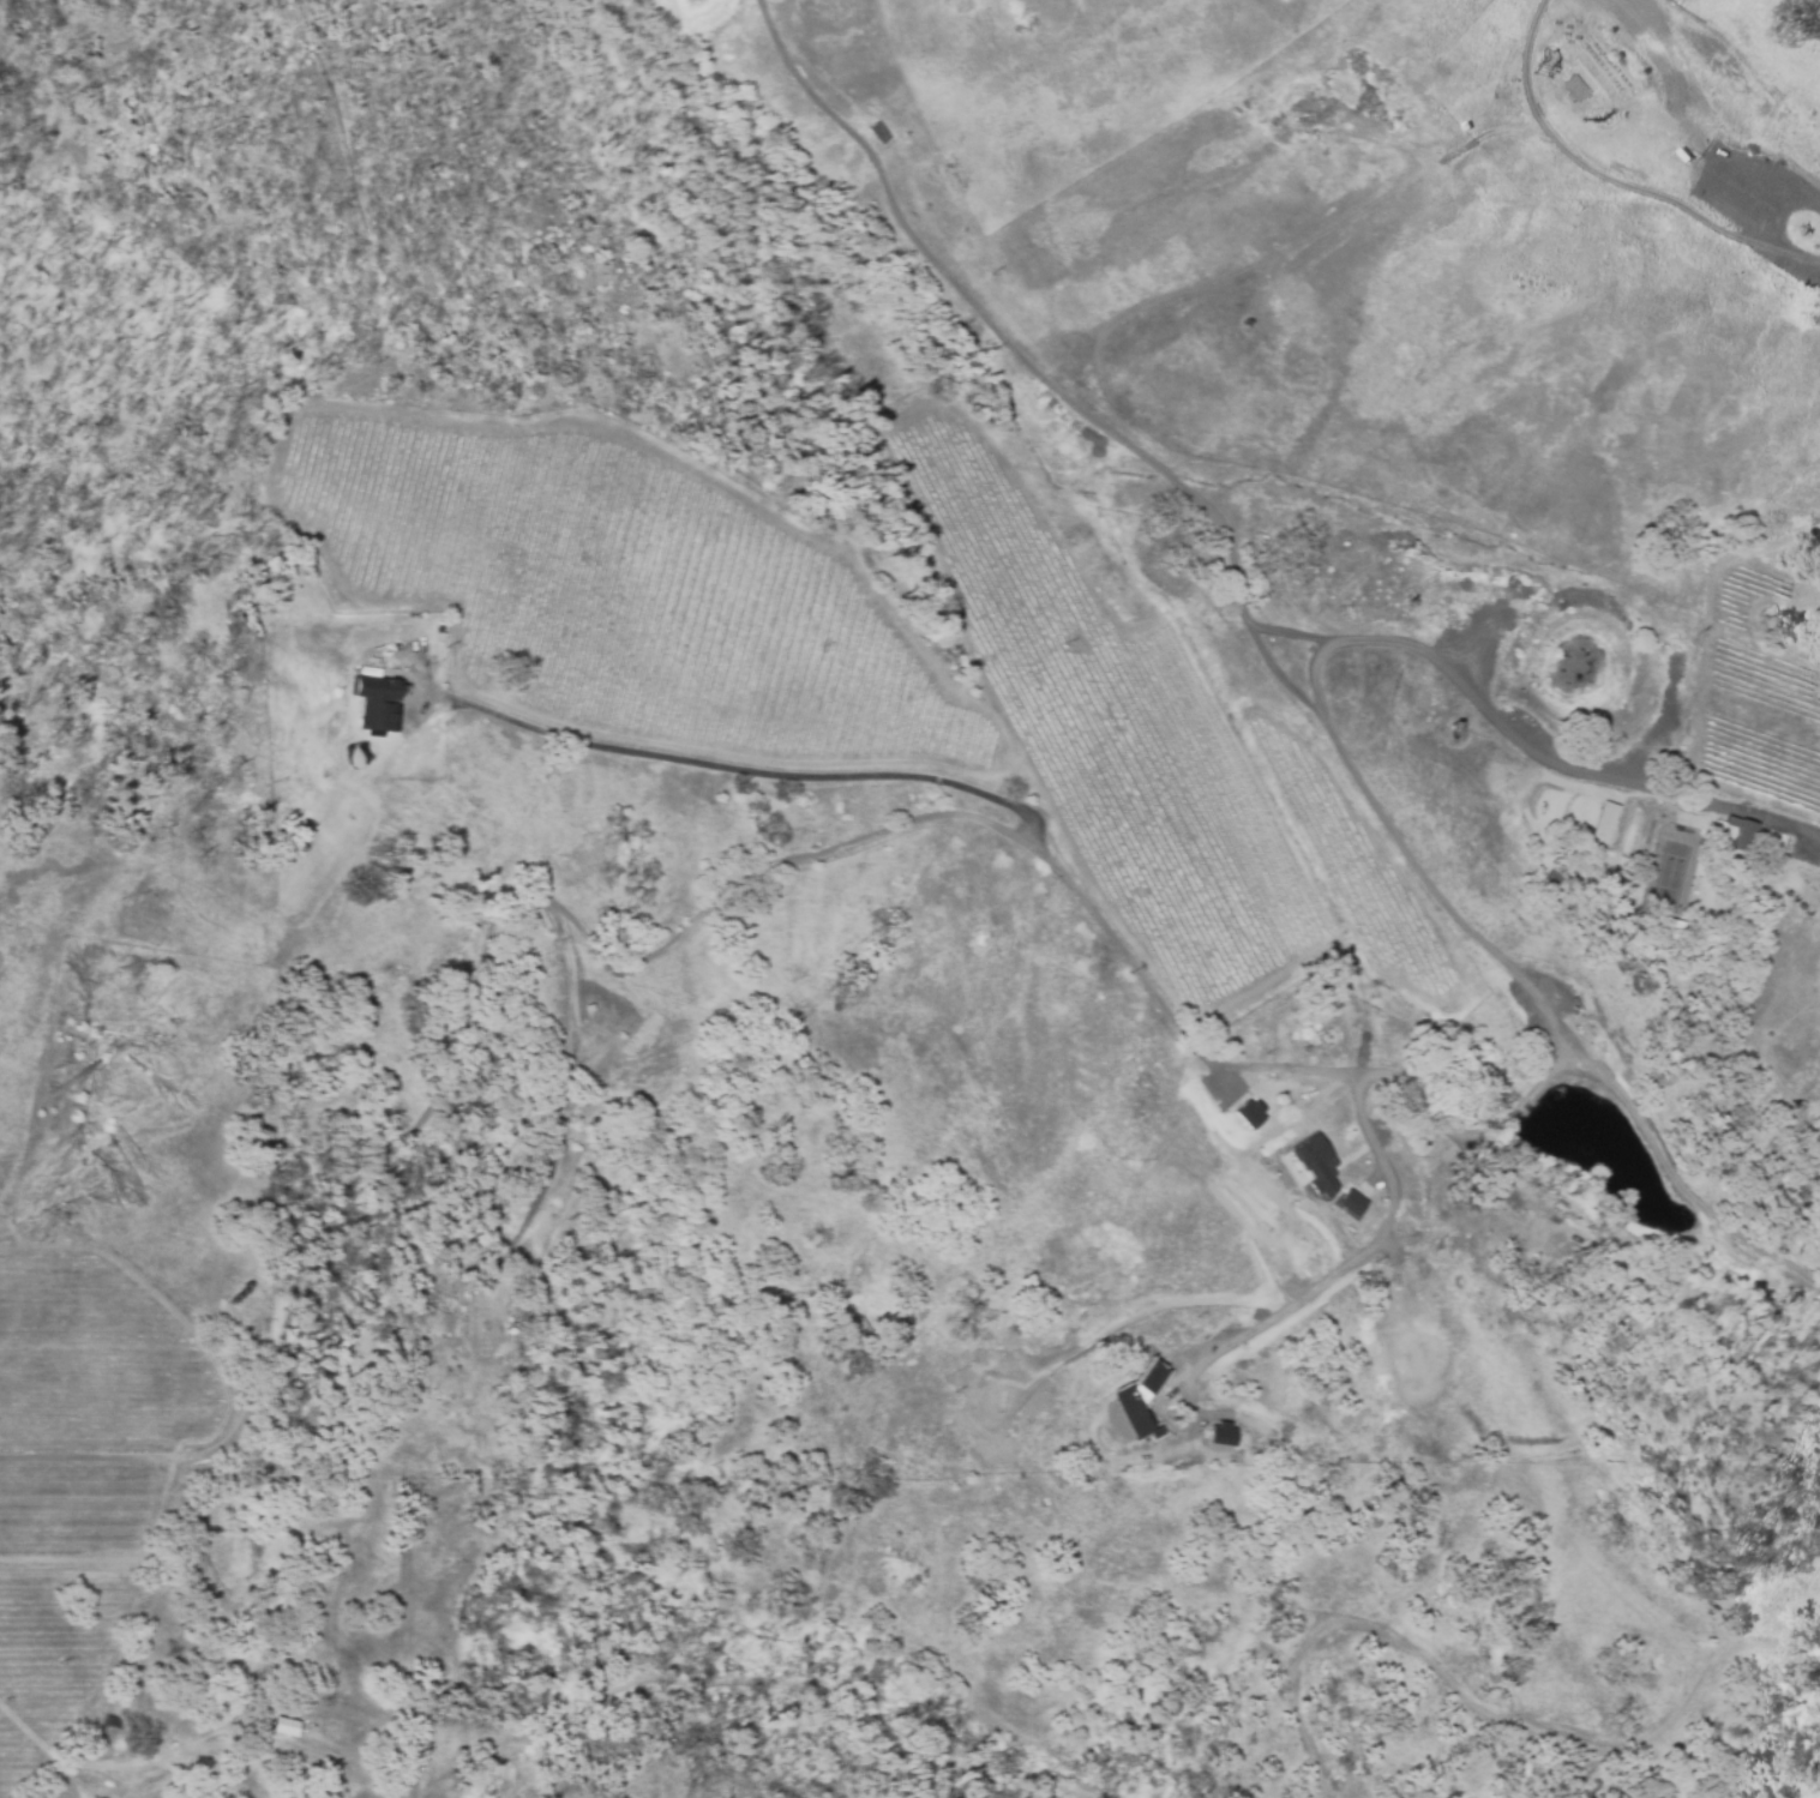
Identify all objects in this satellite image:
road: (1652, 194)
road: (1238, 597)
building: (374, 702)
building: (1602, 819)
building: (1734, 829)
road: (721, 891)
road: (1381, 1072)
road: (571, 1089)
building: (1248, 1113)
building: (1315, 1165)
building: (1351, 1203)
building: (1137, 1401)
building: (1220, 1435)
road: (90, 1707)

